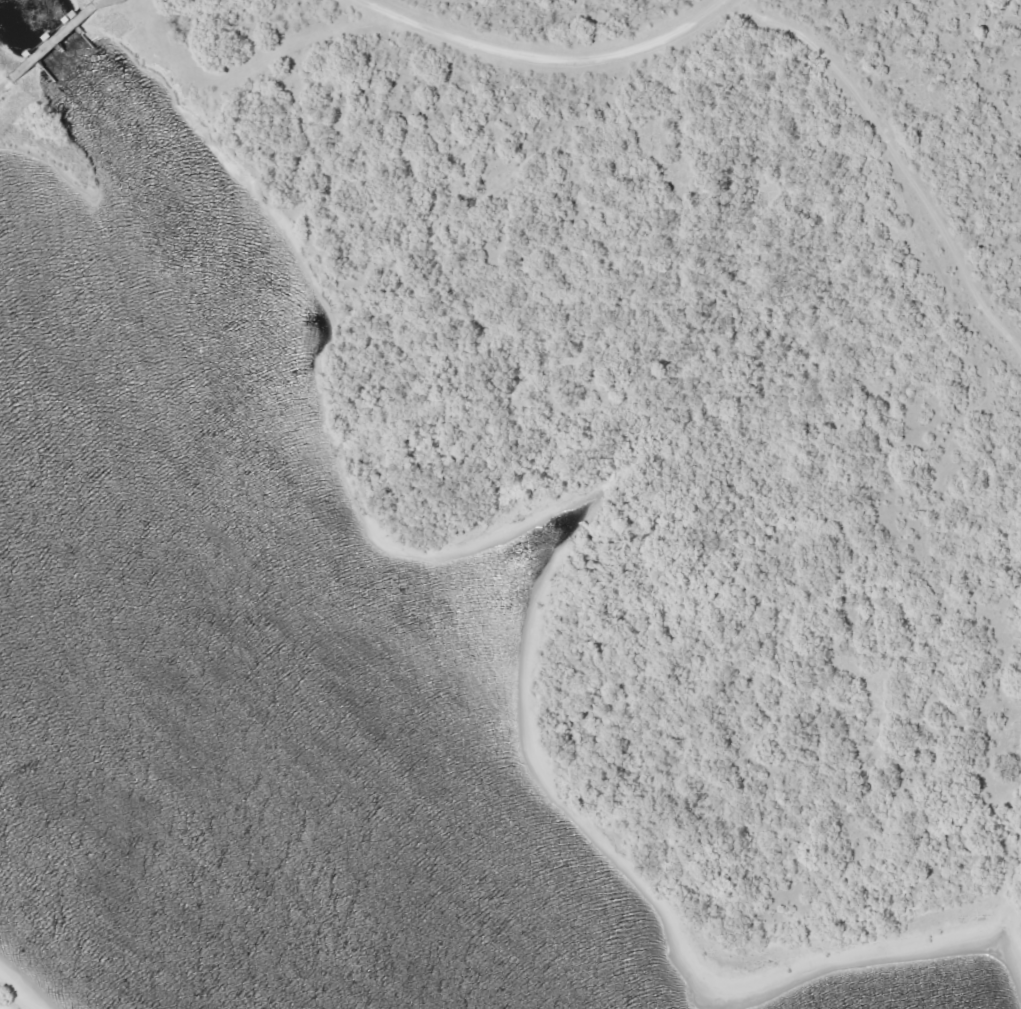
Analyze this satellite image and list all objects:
road: (93, 10)
road: (50, 48)
road: (551, 61)
road: (9, 84)
road: (897, 149)

